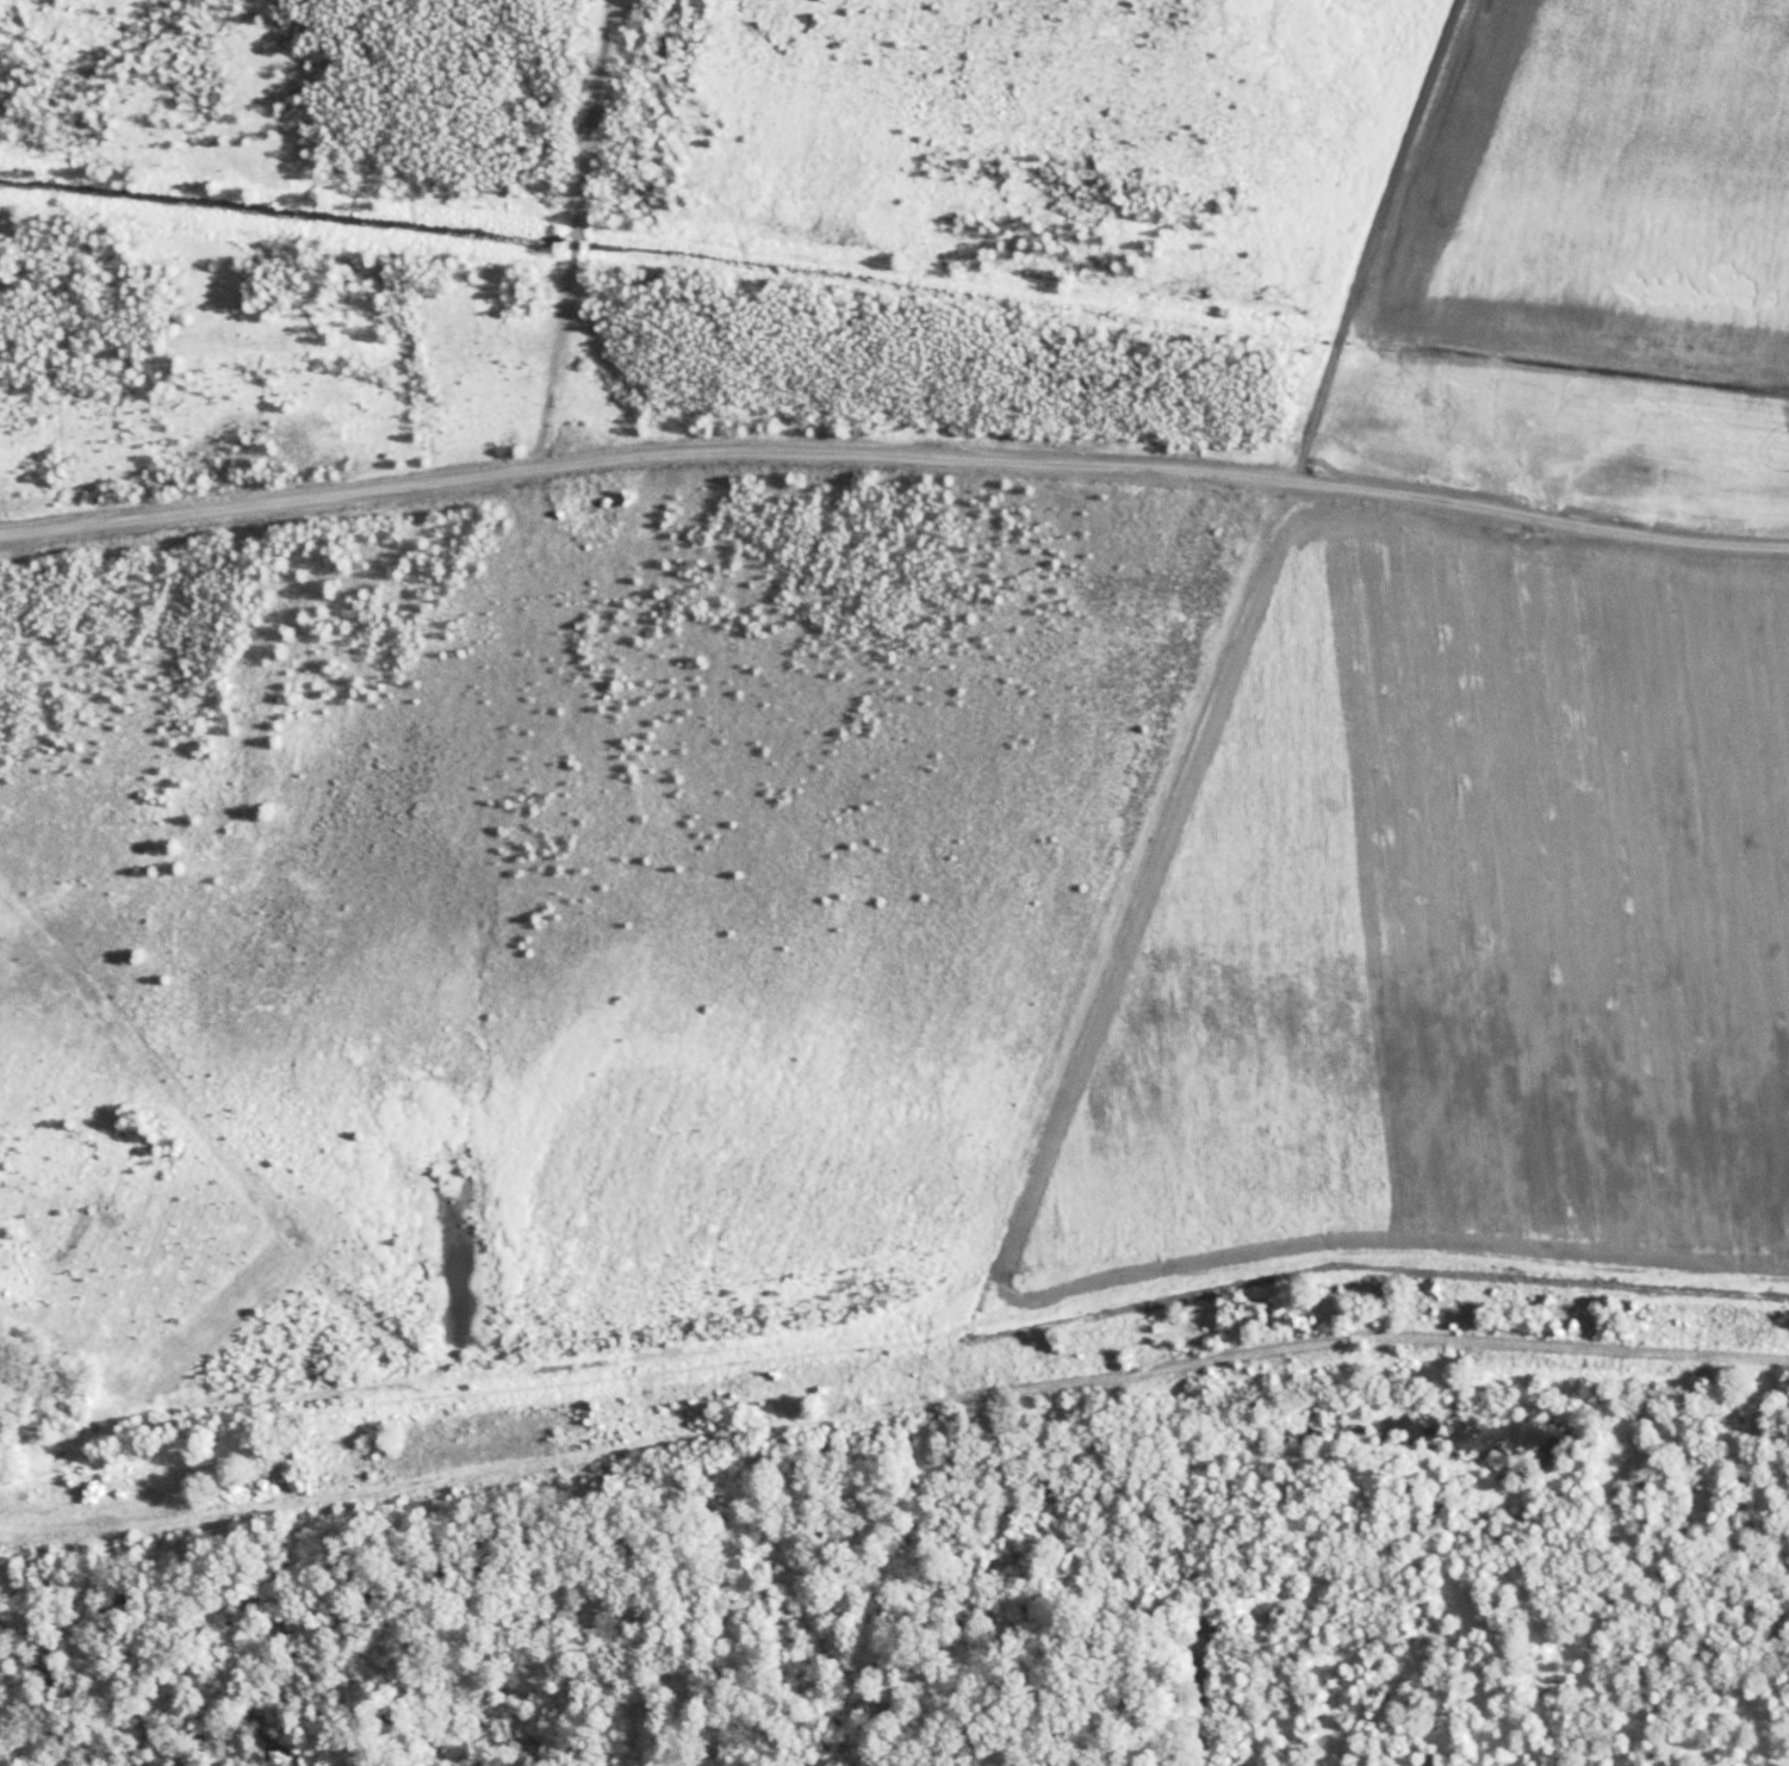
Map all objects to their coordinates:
road: (572, 237)
road: (1368, 240)
road: (895, 454)

